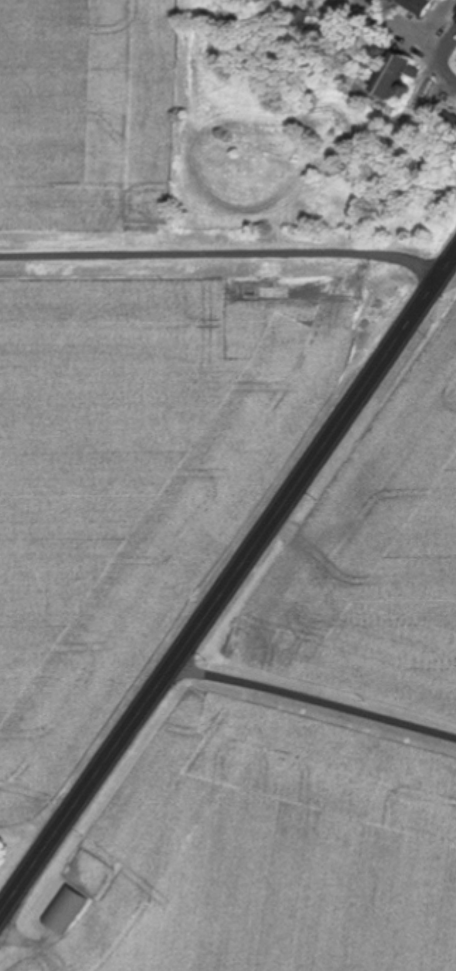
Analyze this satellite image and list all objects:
road: (437, 61)
crop: (86, 113)
road: (226, 253)
crop: (145, 478)
road: (228, 597)
road: (318, 702)
road: (2, 922)

